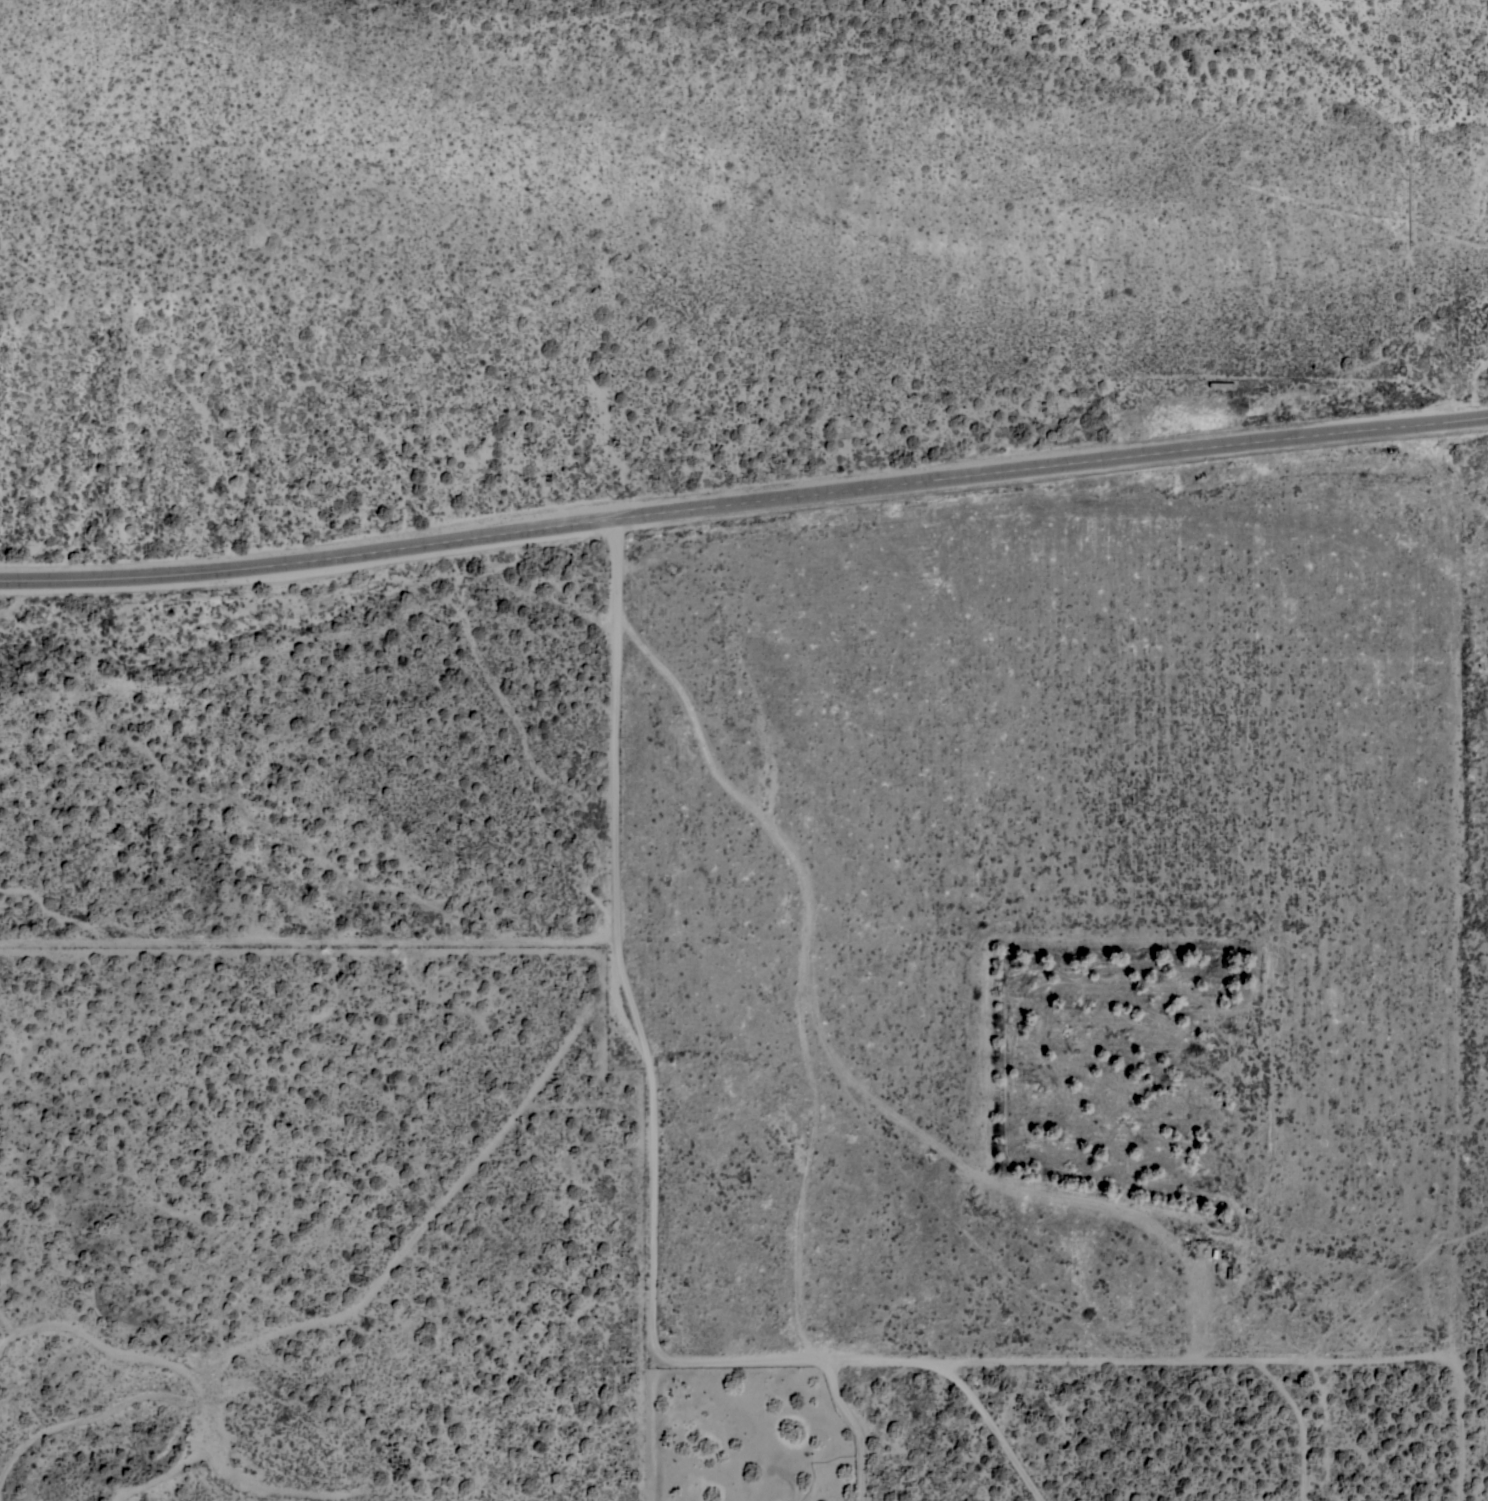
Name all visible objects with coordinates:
road: (744, 499)
road: (617, 940)
road: (818, 1361)
road: (961, 1381)

